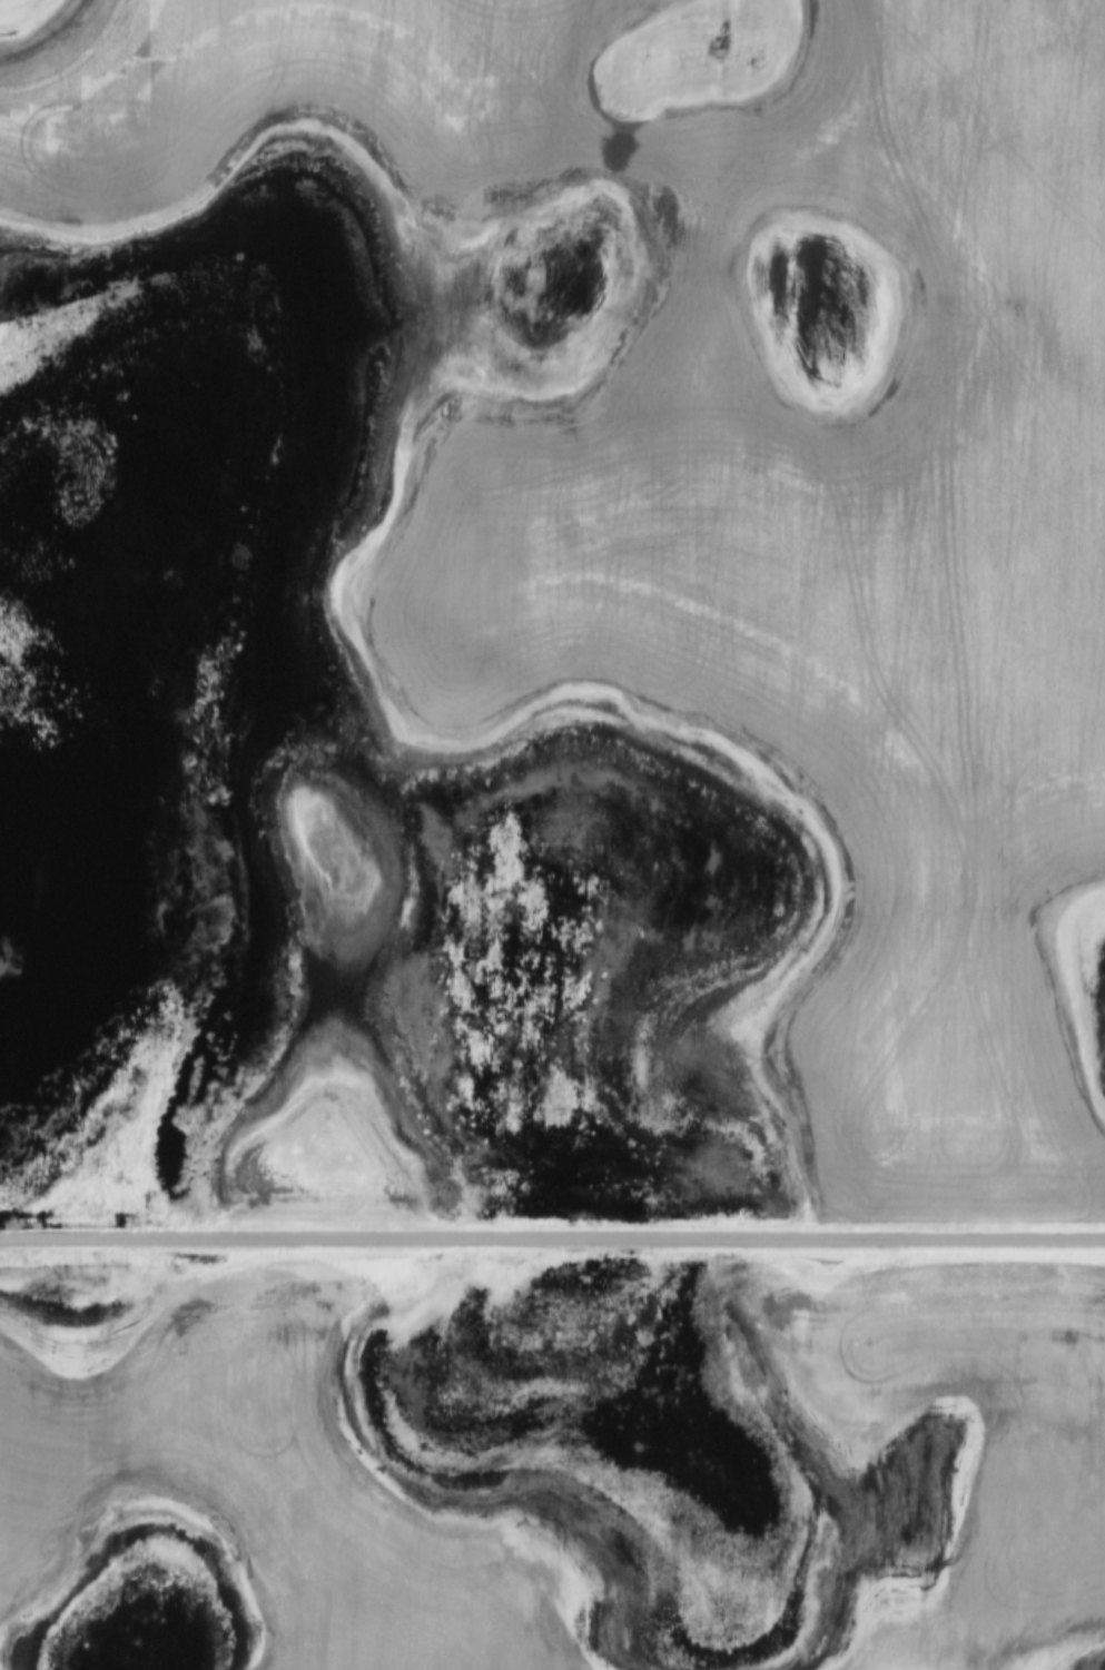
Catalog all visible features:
road: (552, 1239)

